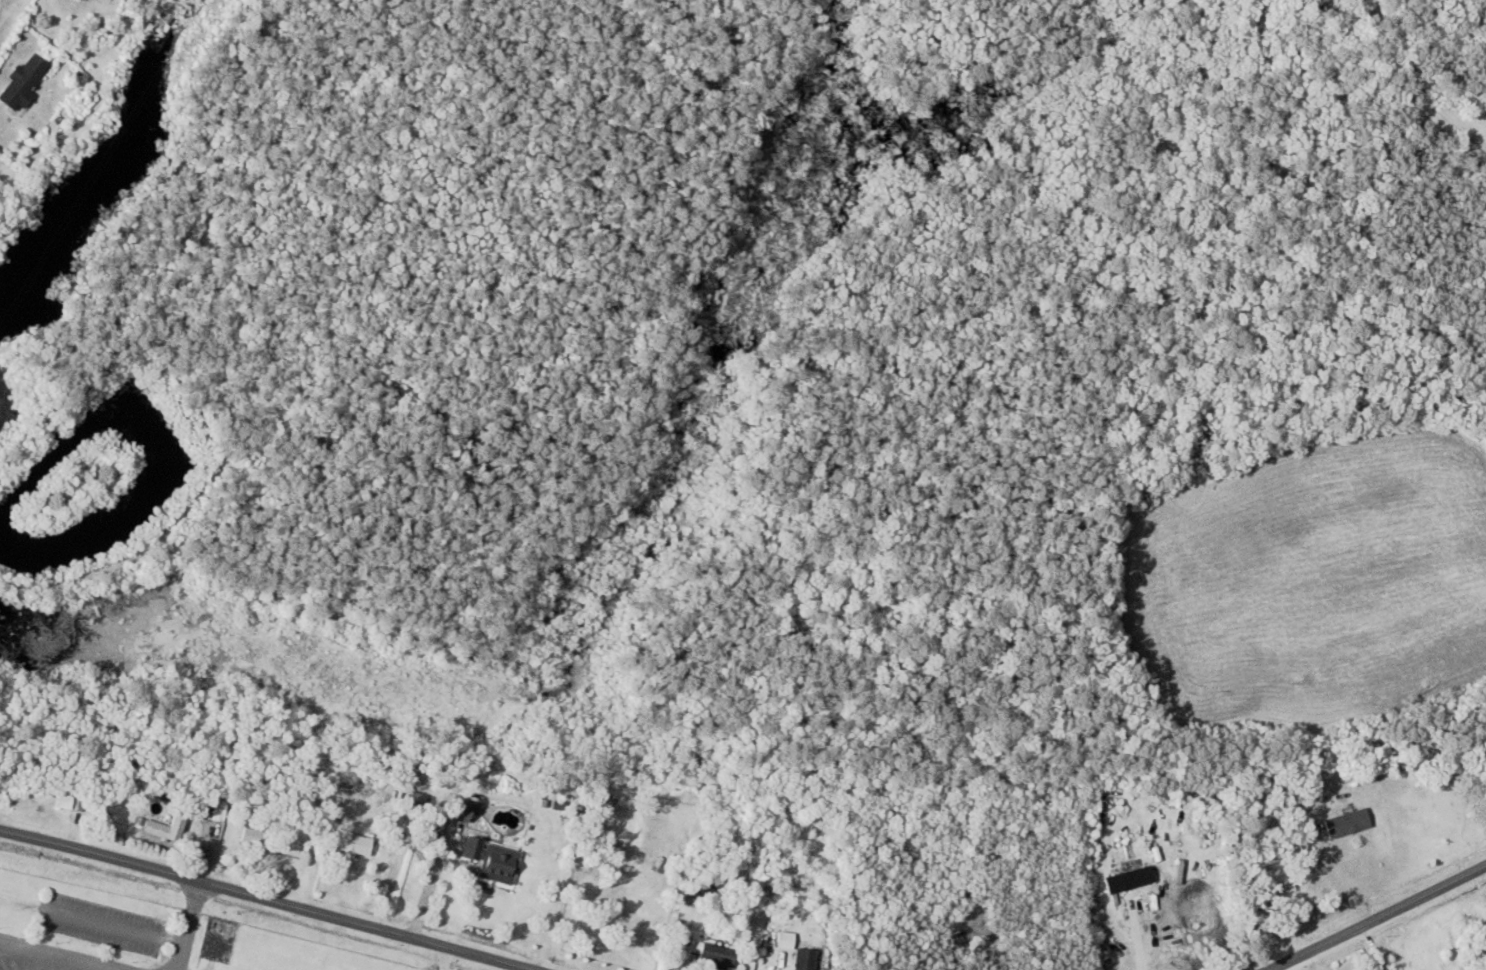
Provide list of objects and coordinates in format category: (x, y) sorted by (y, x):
building: (22, 83)
building: (62, 802)
building: (454, 811)
building: (1345, 824)
building: (163, 830)
building: (631, 837)
building: (354, 845)
building: (491, 862)
road: (1299, 868)
building: (1127, 879)
building: (704, 887)
road: (276, 896)
road: (1378, 915)
road: (193, 923)
parking lot: (103, 925)
road: (115, 927)
road: (1130, 930)
road: (61, 954)
road: (448, 955)
building: (715, 955)
parking lot: (40, 959)
building: (798, 959)

